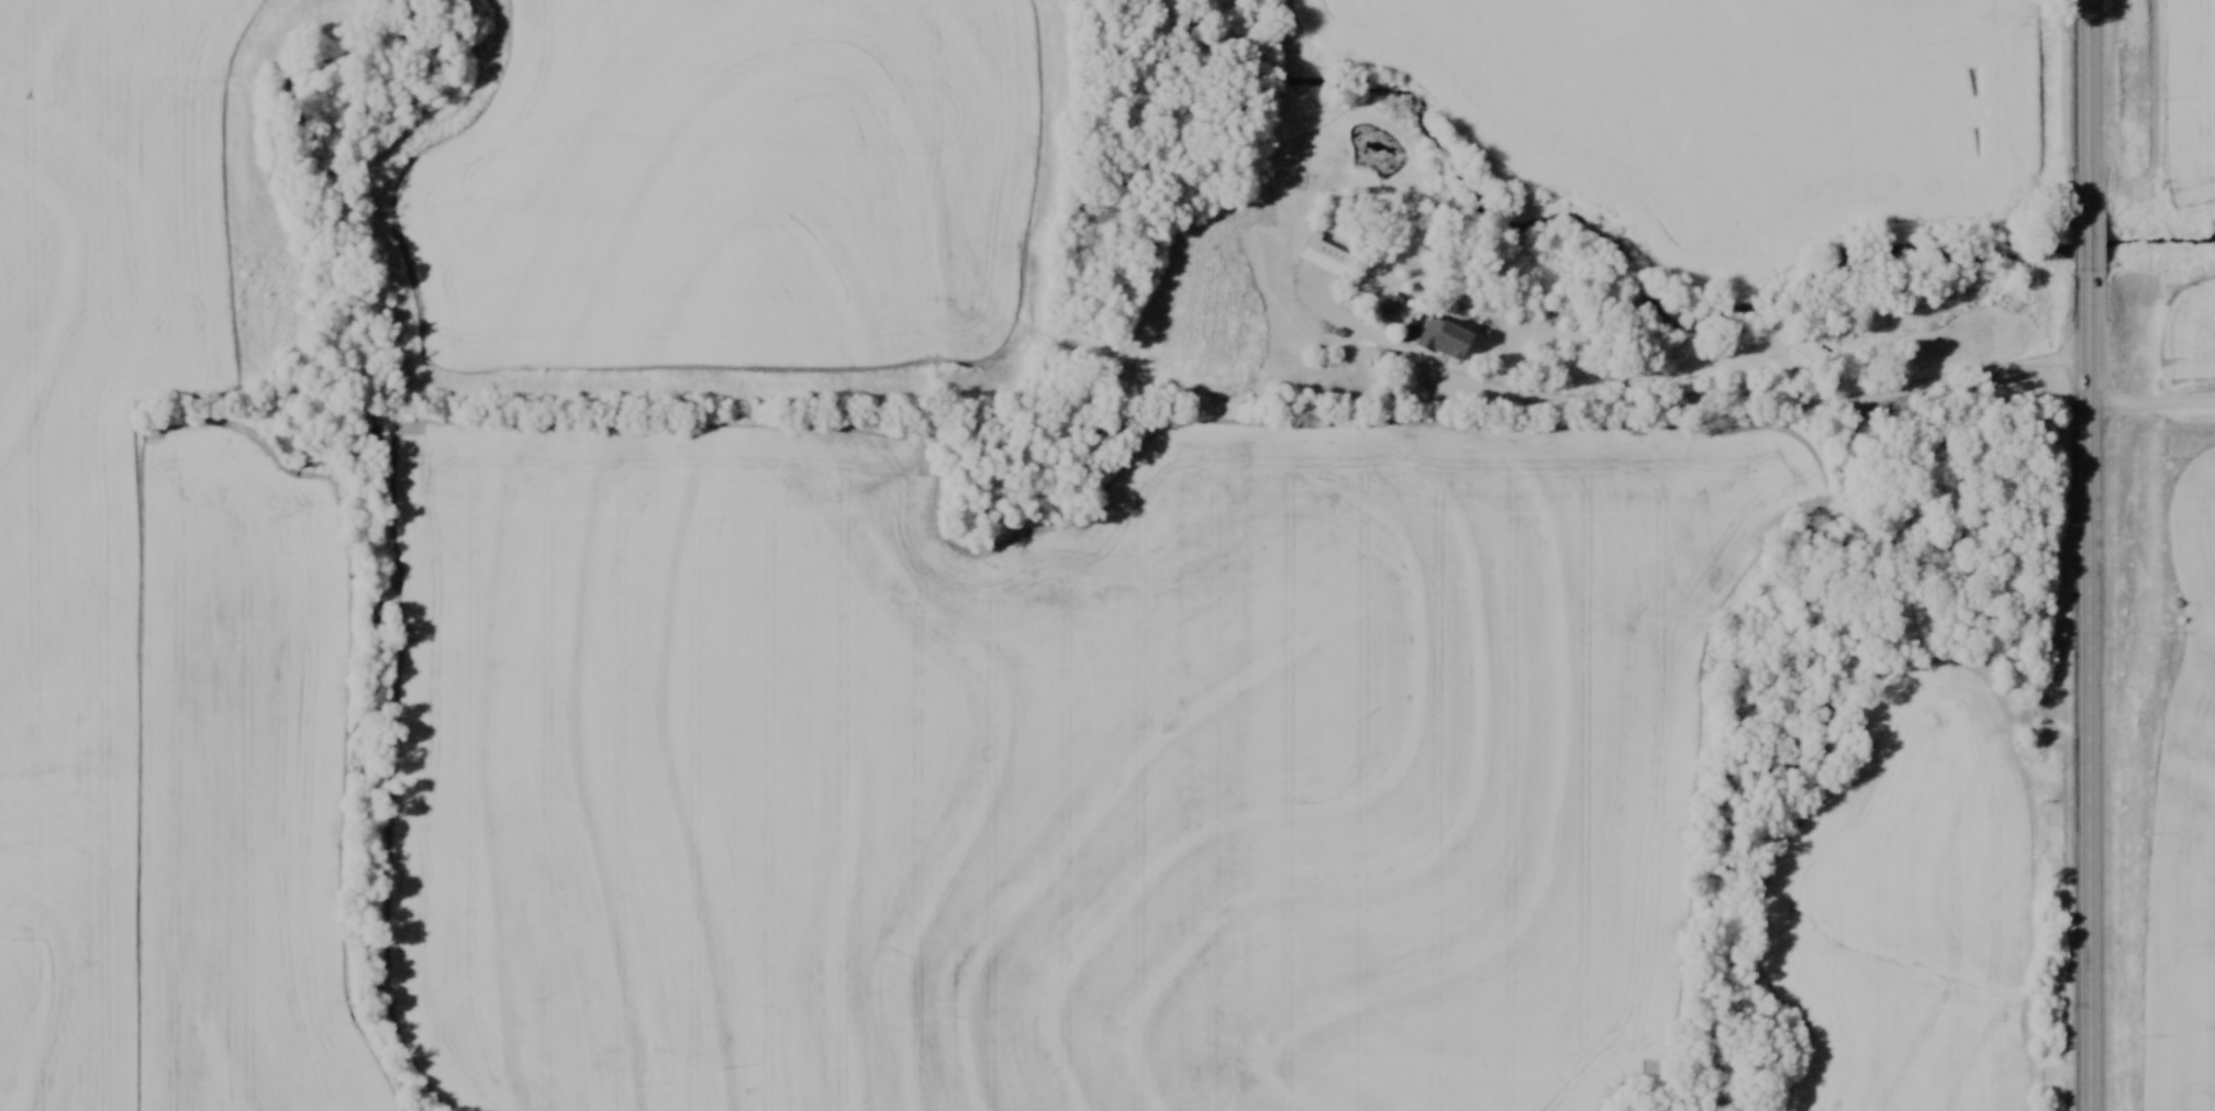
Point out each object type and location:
building: (1331, 245)
building: (1443, 340)
road: (1738, 403)
road: (2149, 404)
road: (2084, 555)

